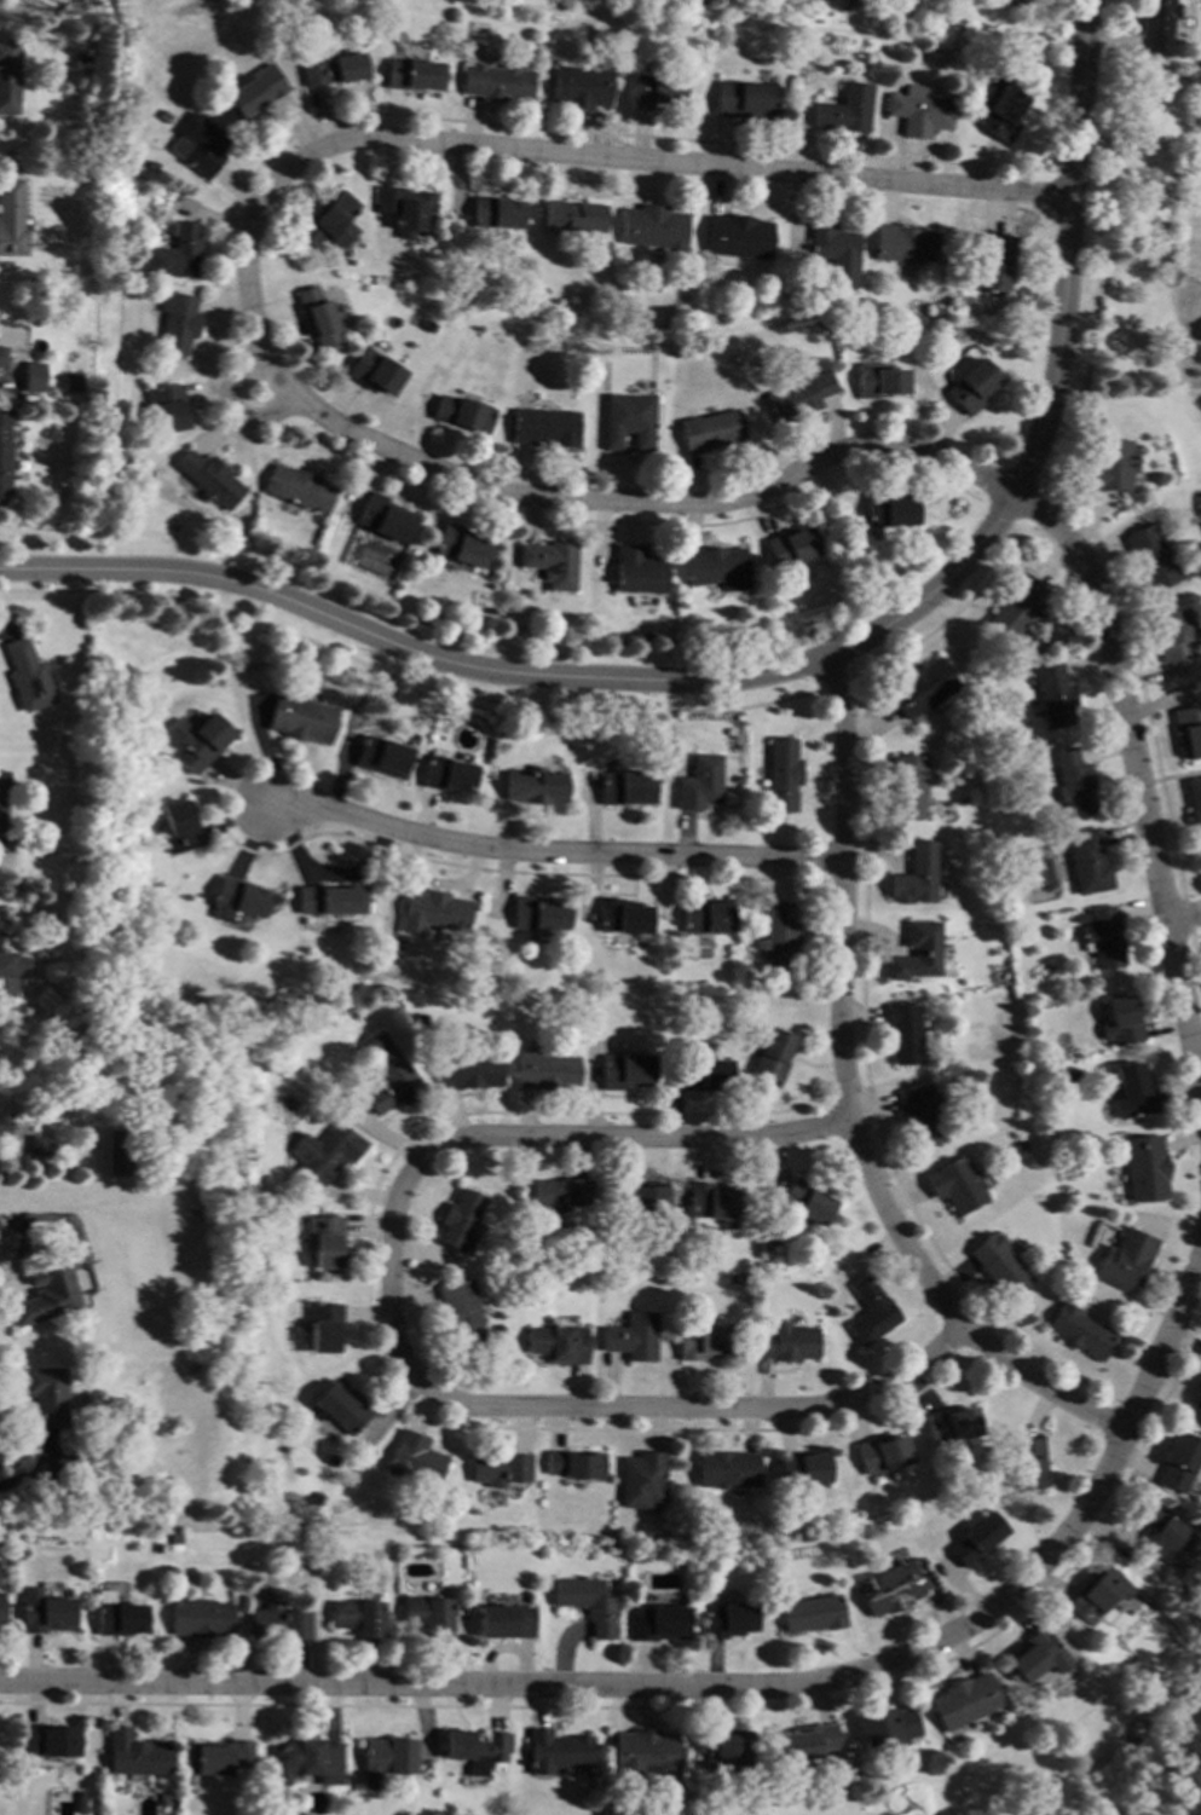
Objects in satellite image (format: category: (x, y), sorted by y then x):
building: (1015, 2)
building: (1157, 25)
building: (81, 59)
building: (335, 70)
building: (414, 75)
building: (8, 76)
building: (497, 82)
building: (581, 87)
building: (656, 91)
building: (254, 92)
building: (745, 102)
building: (844, 110)
building: (918, 111)
building: (999, 111)
building: (166, 117)
building: (200, 145)
building: (138, 163)
building: (151, 167)
building: (404, 207)
building: (496, 213)
building: (573, 216)
building: (11, 218)
building: (329, 222)
building: (653, 227)
building: (737, 237)
building: (903, 244)
building: (833, 252)
building: (177, 254)
building: (995, 262)
road: (252, 272)
building: (318, 317)
building: (178, 323)
building: (1, 357)
building: (374, 371)
building: (29, 380)
building: (70, 382)
building: (878, 382)
building: (971, 387)
building: (797, 397)
building: (168, 407)
building: (462, 414)
building: (627, 423)
building: (543, 427)
building: (709, 430)
building: (5, 450)
building: (1108, 467)
building: (209, 479)
building: (298, 489)
building: (888, 510)
building: (383, 519)
building: (460, 547)
building: (790, 548)
building: (1149, 556)
building: (549, 563)
building: (715, 568)
building: (636, 571)
building: (1016, 607)
building: (1174, 634)
road: (6, 635)
road: (783, 667)
building: (25, 676)
building: (919, 688)
building: (1053, 695)
building: (301, 718)
building: (1189, 730)
building: (201, 741)
building: (381, 757)
building: (445, 775)
building: (780, 775)
building: (1073, 782)
building: (698, 784)
road: (1139, 785)
building: (533, 786)
building: (906, 786)
building: (624, 787)
building: (1194, 803)
building: (4, 805)
building: (184, 828)
road: (549, 855)
building: (1087, 862)
building: (913, 874)
building: (330, 900)
building: (238, 901)
building: (432, 912)
building: (538, 913)
road: (1184, 914)
building: (704, 915)
building: (620, 918)
building: (776, 937)
building: (1103, 938)
building: (914, 953)
building: (6, 975)
building: (1121, 1023)
building: (902, 1033)
building: (770, 1054)
building: (467, 1071)
building: (544, 1071)
building: (624, 1071)
building: (388, 1075)
building: (704, 1075)
building: (1072, 1075)
building: (236, 1079)
building: (1132, 1092)
road: (844, 1103)
building: (919, 1115)
building: (2, 1125)
building: (37, 1146)
building: (1018, 1146)
building: (325, 1152)
building: (116, 1154)
building: (1144, 1168)
building: (955, 1185)
building: (556, 1195)
building: (637, 1197)
building: (711, 1202)
building: (804, 1202)
building: (457, 1220)
building: (327, 1242)
building: (581, 1247)
building: (1124, 1260)
building: (273, 1261)
building: (998, 1265)
road: (7, 1272)
building: (741, 1279)
building: (47, 1291)
building: (458, 1312)
building: (871, 1312)
building: (325, 1328)
building: (1079, 1331)
road: (391, 1336)
building: (633, 1337)
building: (703, 1342)
building: (786, 1342)
building: (558, 1345)
building: (45, 1397)
building: (1197, 1400)
building: (342, 1409)
building: (952, 1426)
building: (882, 1453)
building: (414, 1461)
building: (1179, 1462)
building: (1028, 1463)
building: (573, 1464)
building: (497, 1469)
building: (802, 1469)
building: (727, 1470)
road: (35, 1474)
building: (642, 1479)
building: (316, 1499)
building: (343, 1507)
building: (1159, 1531)
building: (977, 1538)
building: (177, 1539)
building: (158, 1548)
building: (634, 1559)
building: (889, 1589)
building: (1096, 1595)
building: (587, 1603)
building: (1, 1612)
building: (45, 1613)
building: (425, 1614)
building: (812, 1614)
building: (119, 1617)
building: (202, 1618)
building: (357, 1618)
building: (727, 1620)
building: (503, 1622)
building: (279, 1623)
building: (656, 1624)
building: (1035, 1655)
road: (715, 1690)
building: (1148, 1696)
building: (963, 1703)
building: (887, 1726)
building: (50, 1741)
building: (806, 1742)
building: (474, 1751)
building: (556, 1752)
building: (722, 1752)
building: (134, 1755)
building: (218, 1758)
building: (383, 1759)
building: (645, 1759)
building: (305, 1762)
park: (1148, 1775)
building: (163, 1800)
building: (81, 1803)

